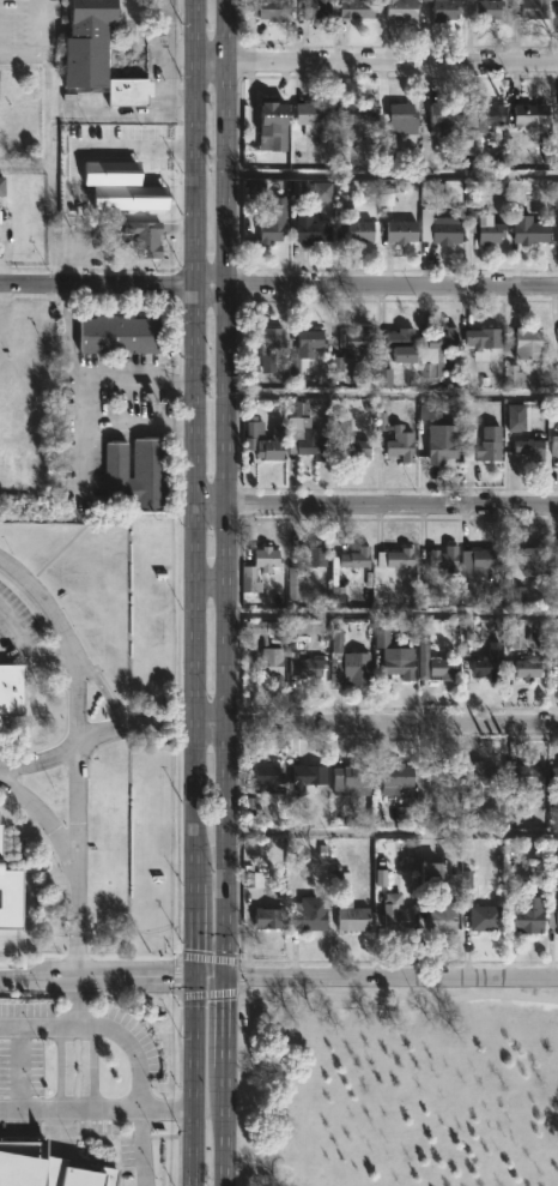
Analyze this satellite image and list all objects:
building: (268, 8)
building: (359, 8)
building: (449, 8)
building: (490, 8)
building: (319, 10)
building: (404, 10)
building: (540, 10)
road: (196, 38)
road: (228, 40)
road: (34, 44)
building: (108, 46)
road: (392, 74)
road: (212, 78)
road: (138, 112)
building: (360, 113)
building: (533, 114)
building: (314, 116)
building: (405, 119)
building: (445, 120)
building: (275, 124)
building: (473, 139)
building: (117, 146)
road: (137, 146)
building: (2, 187)
building: (115, 195)
building: (554, 219)
building: (275, 222)
building: (485, 225)
building: (313, 229)
building: (445, 229)
building: (363, 231)
building: (405, 231)
building: (533, 233)
building: (146, 237)
road: (279, 283)
building: (122, 335)
building: (484, 336)
building: (269, 337)
building: (532, 345)
building: (354, 350)
building: (424, 350)
building: (307, 351)
road: (72, 354)
road: (139, 383)
road: (390, 392)
road: (139, 421)
building: (396, 438)
building: (266, 440)
building: (556, 444)
building: (314, 445)
building: (352, 450)
building: (443, 450)
building: (484, 450)
building: (533, 450)
road: (86, 451)
building: (141, 474)
road: (375, 511)
building: (268, 556)
building: (315, 556)
building: (358, 556)
building: (399, 559)
building: (487, 559)
building: (447, 561)
building: (535, 561)
building: (553, 577)
road: (210, 579)
road: (194, 582)
road: (226, 583)
building: (475, 594)
road: (392, 609)
building: (396, 654)
building: (350, 658)
building: (273, 662)
building: (308, 666)
building: (447, 667)
building: (490, 667)
building: (530, 667)
road: (99, 688)
building: (11, 690)
road: (134, 723)
road: (393, 726)
road: (211, 727)
road: (78, 740)
road: (40, 755)
building: (444, 773)
building: (310, 775)
building: (527, 775)
building: (400, 776)
building: (486, 776)
building: (556, 776)
building: (271, 777)
building: (356, 778)
building: (0, 814)
road: (392, 831)
building: (436, 875)
building: (11, 891)
road: (74, 911)
building: (310, 914)
building: (398, 914)
building: (447, 914)
building: (354, 916)
building: (271, 917)
building: (487, 917)
building: (530, 917)
building: (553, 917)
road: (206, 956)
road: (175, 974)
road: (97, 975)
road: (239, 975)
traffic signals: (194, 976)
traffic signals: (226, 976)
road: (375, 979)
road: (207, 993)
road: (80, 999)
road: (398, 1007)
road: (41, 1025)
road: (129, 1047)
road: (16, 1066)
park: (396, 1085)
park: (400, 1086)
road: (69, 1106)
road: (166, 1108)
road: (192, 1136)
road: (224, 1137)
road: (144, 1146)
building: (46, 1168)

